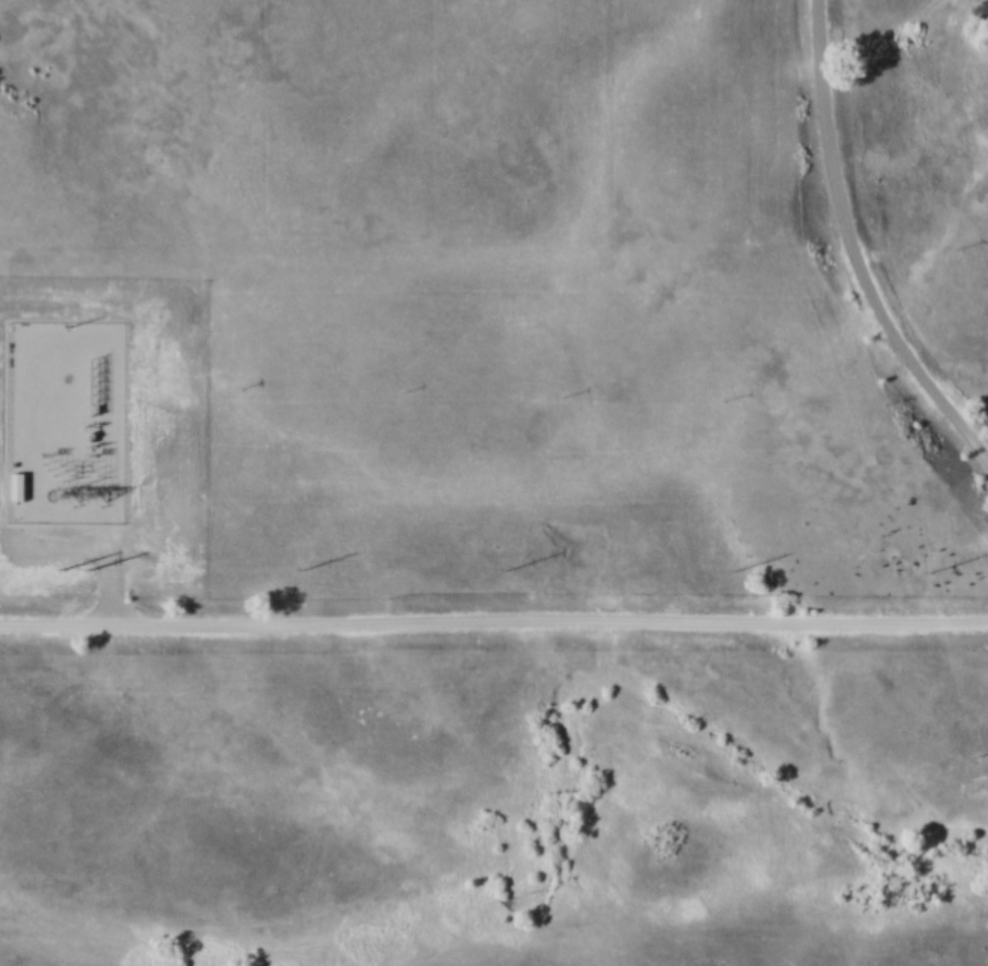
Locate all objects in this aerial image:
road: (859, 240)
power substation: (59, 423)
road: (107, 574)
road: (493, 625)

